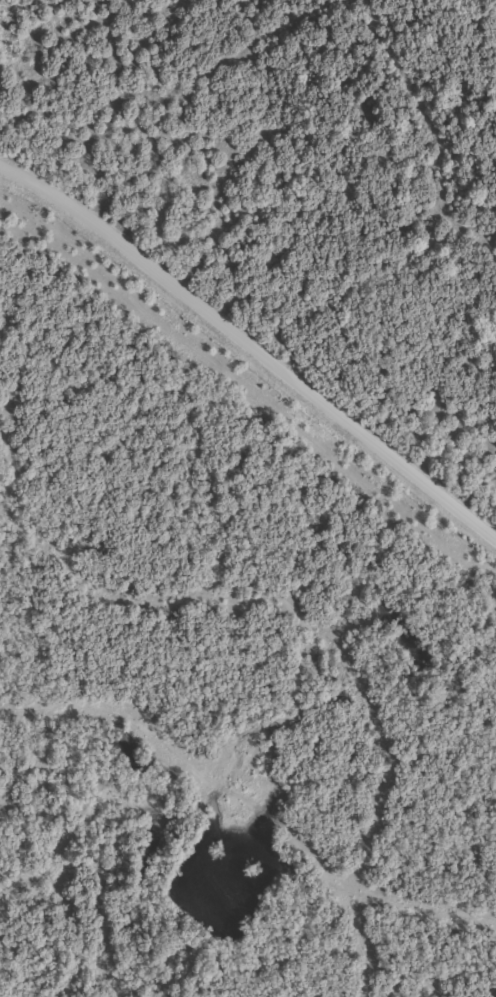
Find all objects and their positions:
road: (250, 345)

